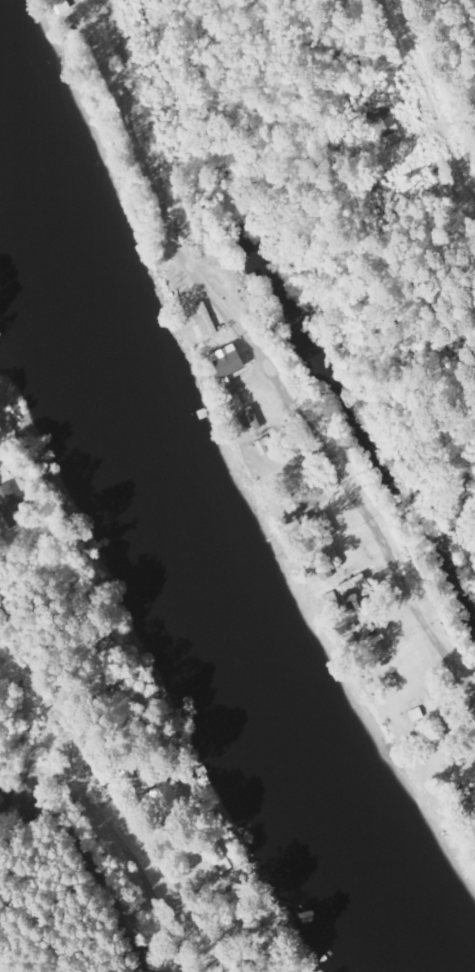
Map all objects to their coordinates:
road: (210, 308)
building: (203, 320)
building: (226, 361)
building: (248, 418)
river: (183, 567)
building: (347, 584)
road: (434, 649)
road: (82, 789)
building: (163, 795)
building: (473, 798)

